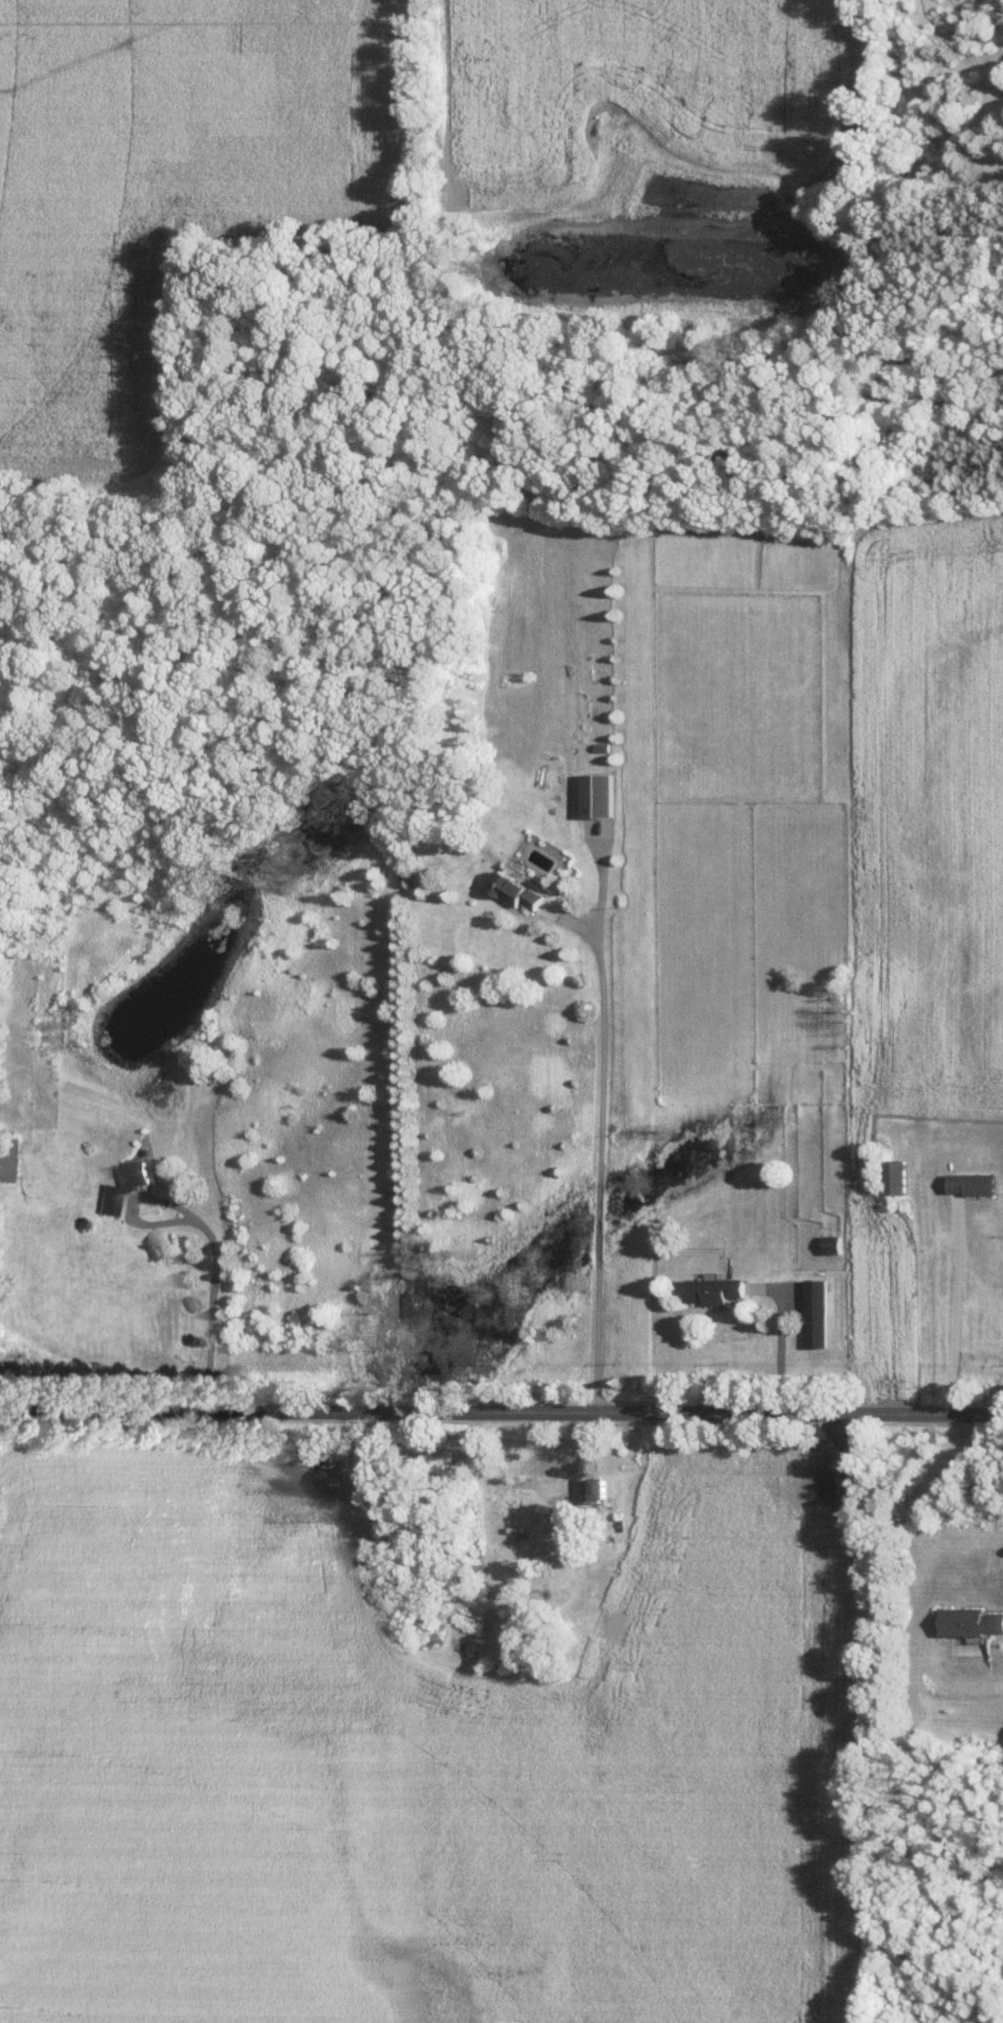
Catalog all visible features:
crop: (678, 103)
crop: (164, 198)
building: (599, 794)
building: (518, 890)
road: (597, 1138)
building: (4, 1157)
building: (894, 1176)
building: (122, 1183)
building: (972, 1183)
road: (209, 1238)
building: (832, 1243)
building: (716, 1289)
road: (958, 1306)
building: (817, 1312)
road: (779, 1354)
road: (501, 1410)
building: (598, 1488)
building: (521, 1509)
building: (971, 1621)
crop: (415, 1751)

